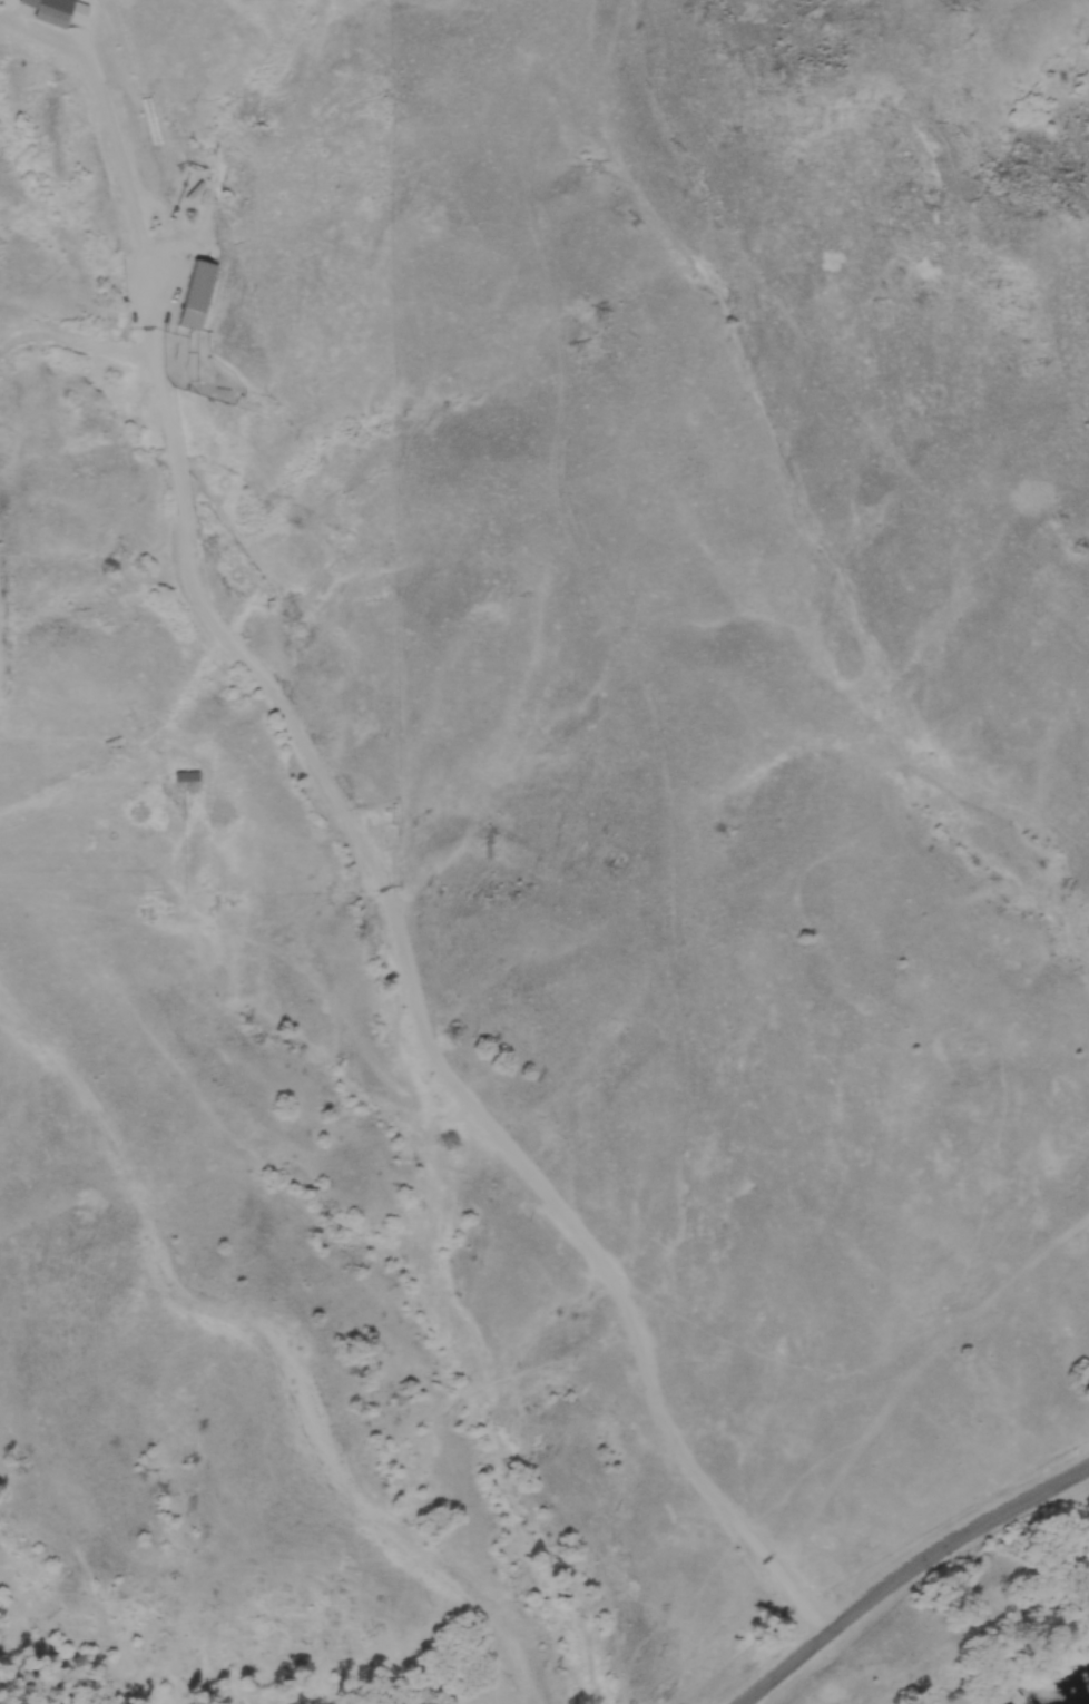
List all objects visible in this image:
building: (58, 10)
building: (197, 293)
building: (188, 775)
road: (907, 1576)

